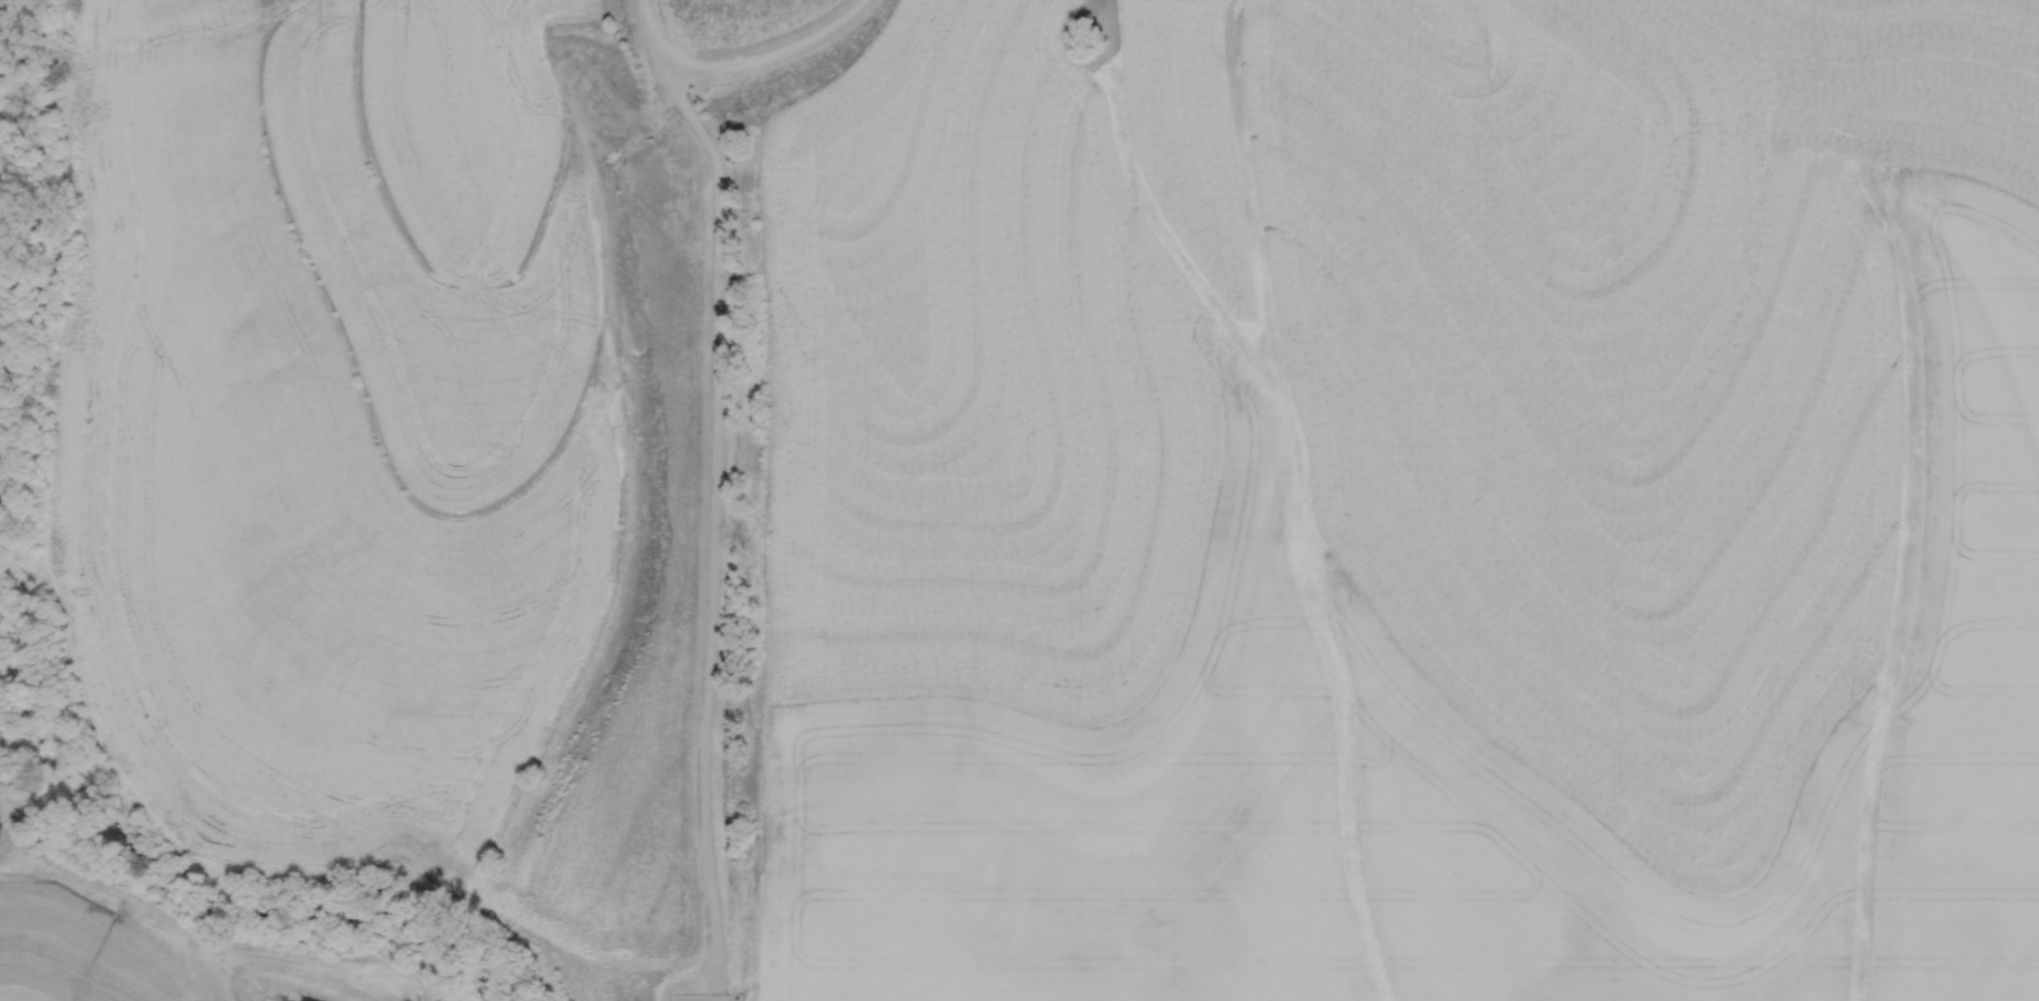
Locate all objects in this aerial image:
crop: (3, 14)
road: (653, 34)
road: (769, 52)
crop: (1, 227)
crop: (326, 420)
crop: (1403, 504)
road: (713, 528)
road: (23, 991)

